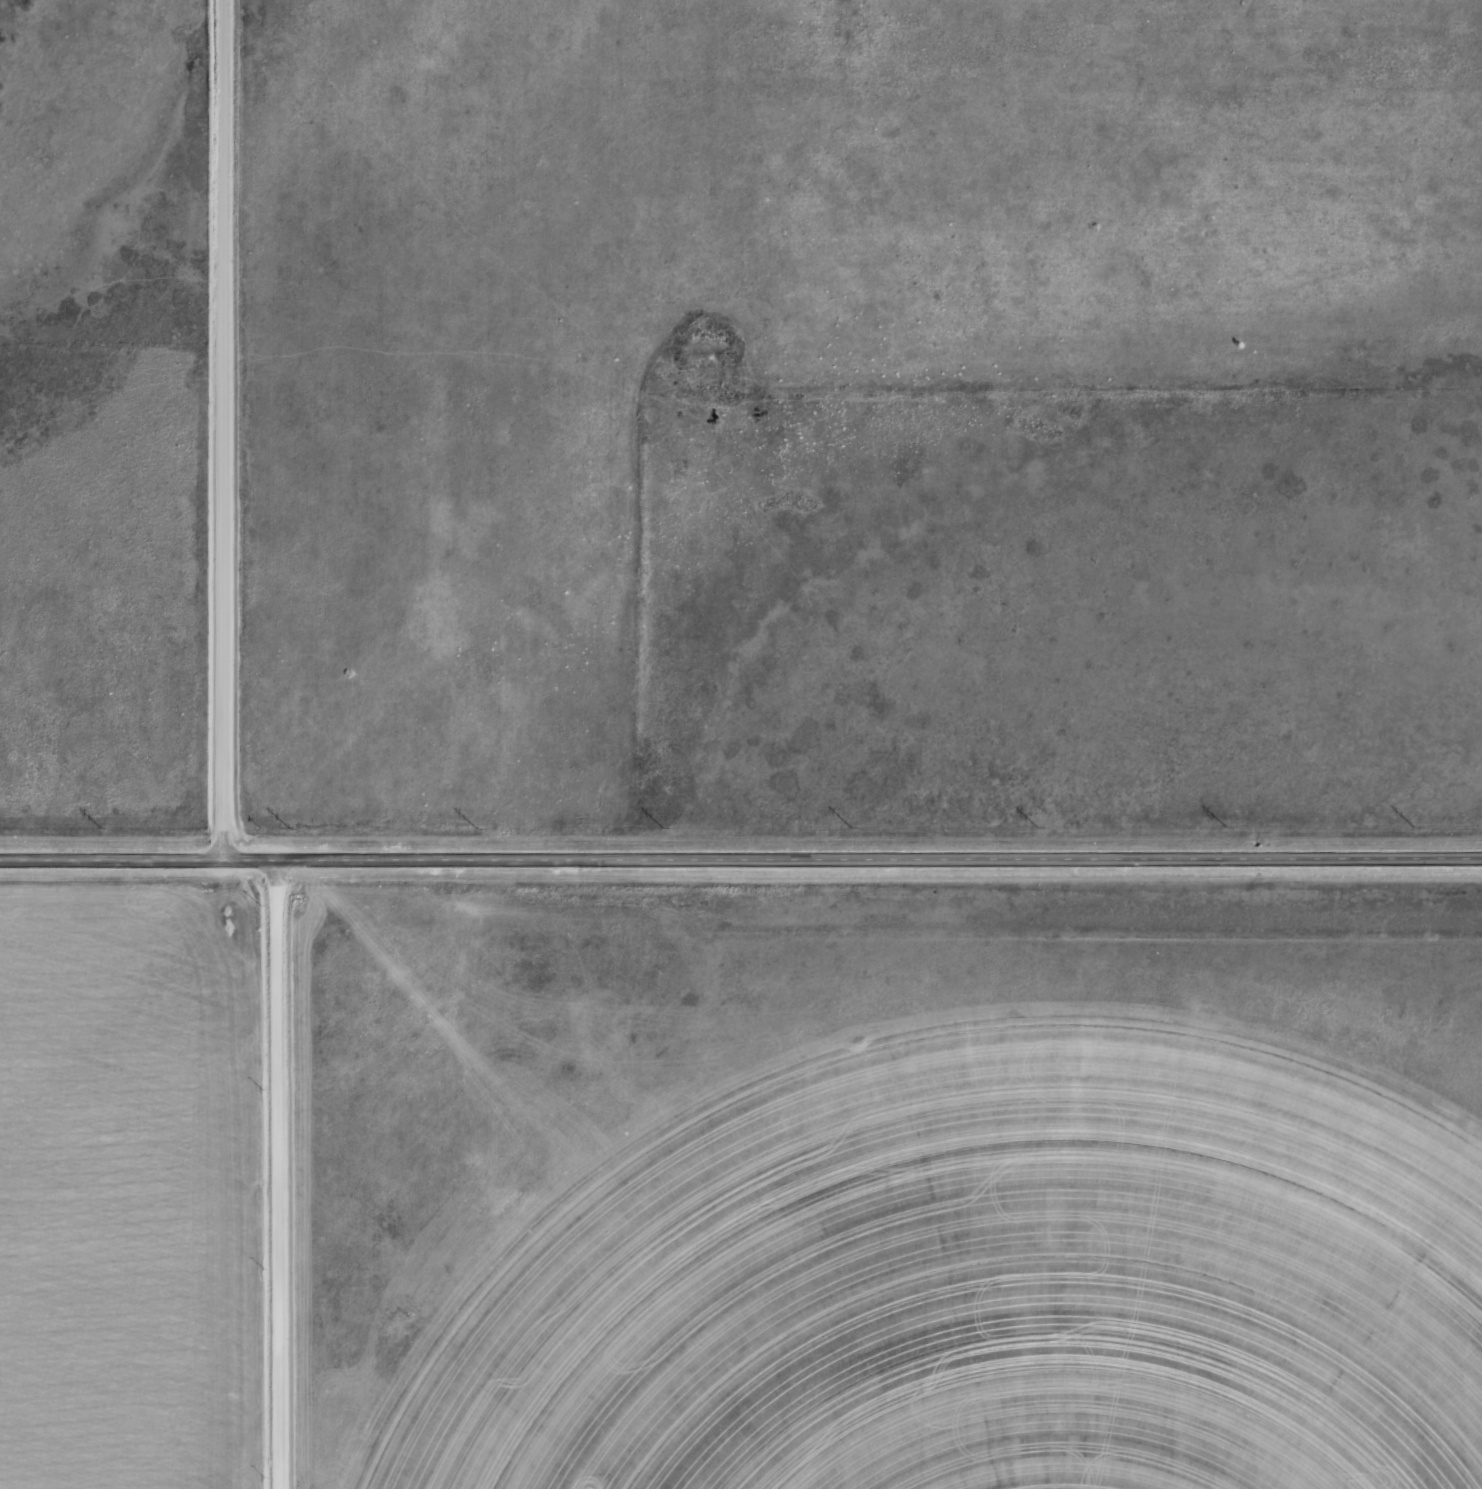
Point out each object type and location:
road: (213, 432)
road: (740, 864)
road: (280, 1178)

